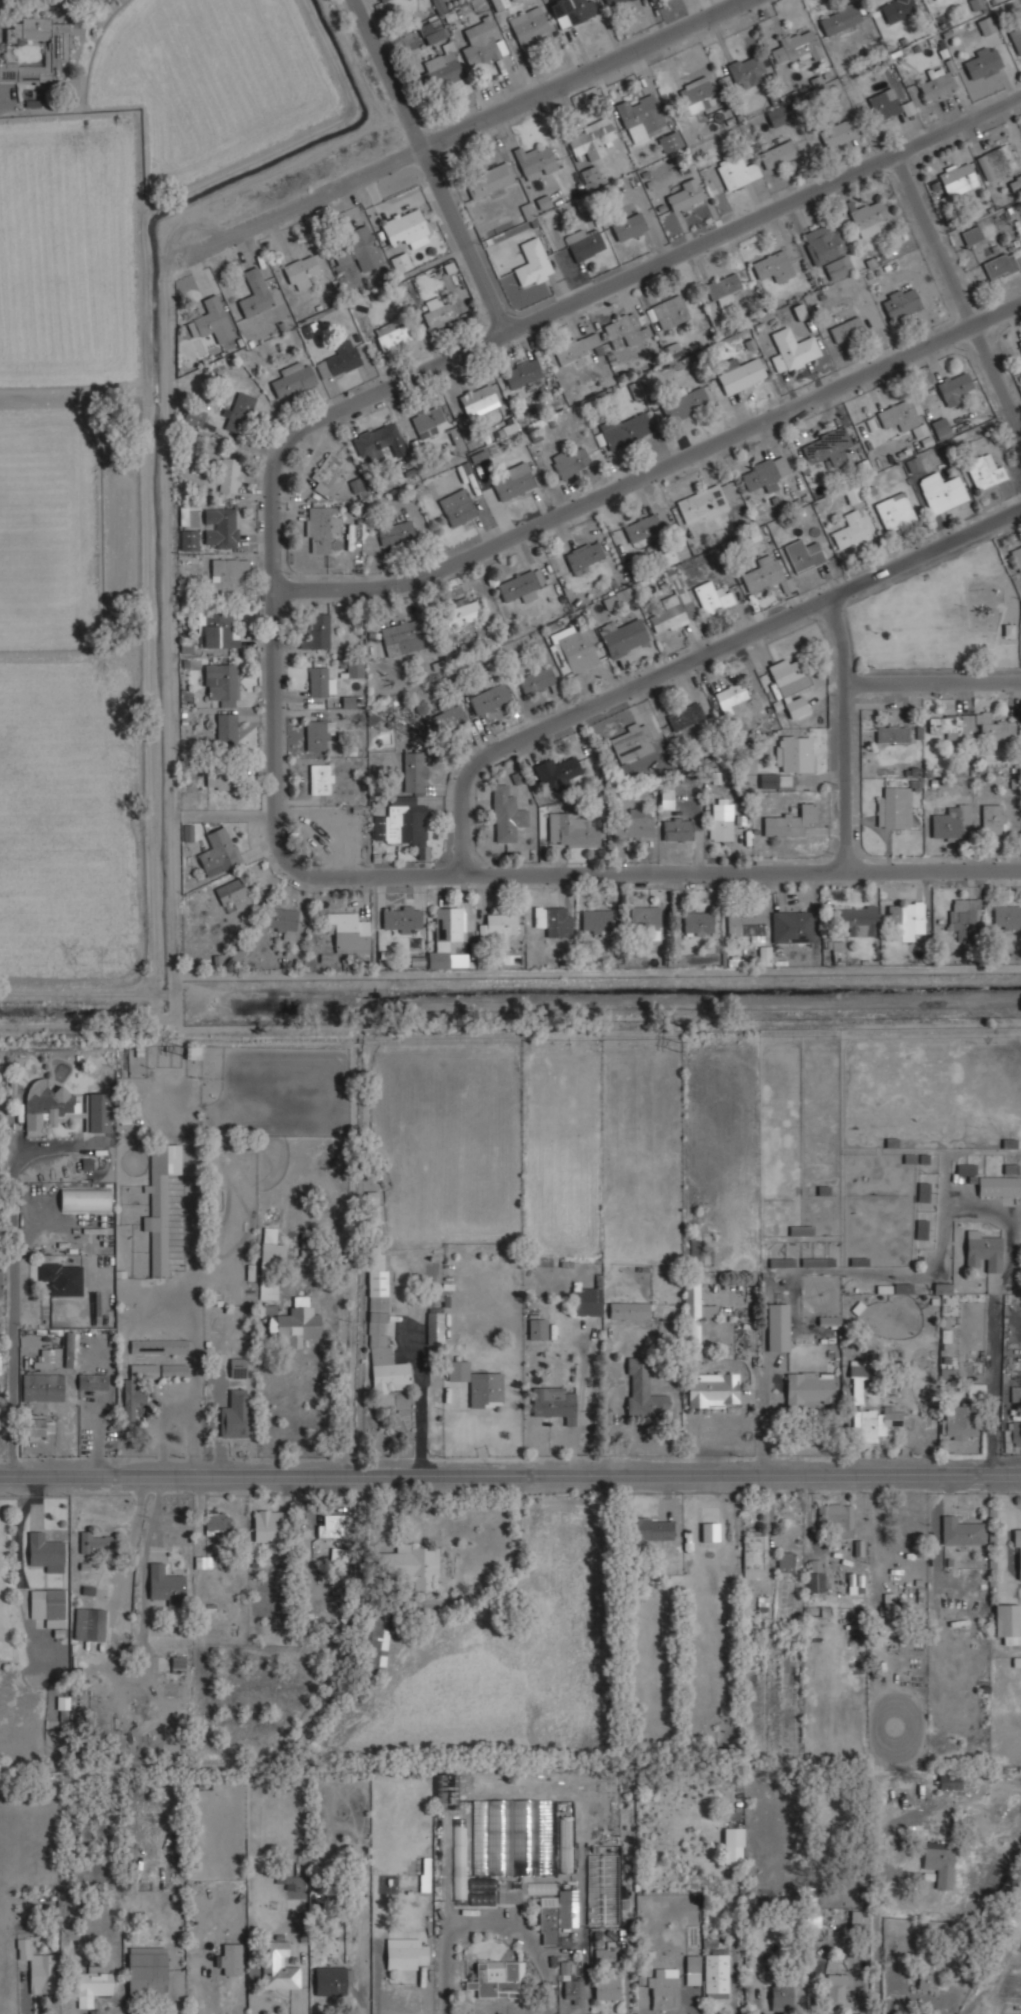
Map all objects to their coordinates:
building: (378, 0)
building: (382, 0)
building: (934, 0)
building: (612, 2)
building: (499, 4)
building: (895, 9)
building: (571, 11)
road: (10, 13)
building: (839, 19)
building: (986, 24)
building: (529, 25)
building: (432, 29)
building: (1016, 38)
building: (483, 42)
building: (794, 46)
building: (55, 50)
building: (983, 61)
building: (746, 69)
building: (439, 71)
building: (936, 84)
building: (695, 93)
road: (6, 100)
building: (708, 101)
building: (884, 103)
building: (778, 115)
building: (641, 116)
road: (467, 126)
building: (836, 132)
building: (590, 138)
building: (669, 141)
building: (777, 154)
building: (997, 160)
building: (534, 161)
road: (429, 166)
building: (738, 171)
building: (591, 177)
building: (957, 179)
building: (487, 180)
building: (1015, 182)
building: (685, 195)
building: (866, 216)
building: (628, 226)
building: (405, 227)
building: (972, 235)
building: (583, 242)
building: (356, 248)
crop: (69, 250)
building: (826, 250)
building: (400, 261)
building: (532, 263)
building: (999, 264)
building: (772, 265)
building: (300, 270)
building: (722, 287)
road: (959, 290)
building: (253, 292)
building: (900, 302)
building: (668, 311)
building: (438, 314)
building: (212, 320)
building: (845, 329)
building: (624, 330)
building: (392, 334)
building: (1019, 342)
building: (576, 346)
building: (792, 350)
building: (340, 357)
road: (452, 357)
building: (521, 372)
building: (740, 375)
building: (292, 378)
building: (954, 387)
building: (477, 397)
building: (684, 403)
building: (239, 411)
building: (193, 416)
building: (905, 419)
building: (426, 421)
building: (940, 427)
building: (624, 429)
building: (376, 440)
building: (826, 447)
building: (570, 461)
building: (913, 464)
building: (984, 470)
road: (655, 473)
building: (763, 473)
building: (229, 475)
building: (327, 475)
building: (514, 481)
building: (356, 487)
building: (941, 490)
building: (852, 494)
building: (701, 504)
building: (457, 506)
building: (894, 510)
building: (188, 516)
building: (219, 527)
building: (320, 527)
building: (641, 527)
building: (850, 530)
building: (394, 532)
building: (188, 539)
building: (675, 552)
building: (803, 554)
building: (583, 555)
building: (1017, 556)
building: (761, 572)
building: (228, 576)
building: (519, 585)
building: (712, 596)
building: (673, 606)
building: (463, 609)
building: (216, 629)
building: (316, 631)
building: (1020, 635)
building: (401, 637)
building: (623, 637)
building: (574, 651)
road: (696, 659)
building: (354, 669)
building: (788, 675)
building: (536, 679)
building: (317, 681)
building: (220, 683)
road: (934, 684)
building: (731, 696)
building: (489, 698)
crop: (55, 699)
building: (795, 706)
building: (684, 716)
building: (444, 719)
building: (952, 725)
building: (226, 727)
building: (993, 728)
building: (891, 733)
building: (316, 734)
road: (846, 735)
building: (630, 744)
building: (793, 752)
building: (414, 770)
building: (556, 773)
building: (320, 778)
building: (219, 780)
building: (768, 780)
building: (784, 782)
building: (666, 798)
building: (893, 807)
building: (506, 813)
building: (992, 819)
building: (720, 821)
building: (788, 821)
building: (950, 821)
building: (400, 824)
building: (634, 824)
building: (330, 825)
building: (677, 828)
building: (571, 830)
building: (187, 832)
building: (217, 851)
road: (659, 874)
building: (232, 895)
building: (964, 916)
building: (1007, 916)
building: (905, 917)
building: (400, 918)
building: (645, 918)
building: (858, 919)
building: (281, 920)
building: (553, 920)
building: (595, 921)
building: (746, 921)
building: (697, 922)
building: (498, 926)
building: (791, 926)
building: (348, 931)
building: (444, 934)
building: (837, 952)
building: (758, 957)
building: (192, 1052)
building: (62, 1107)
building: (1010, 1168)
building: (998, 1186)
building: (84, 1199)
building: (160, 1202)
building: (983, 1251)
building: (695, 1252)
building: (781, 1262)
building: (270, 1265)
road: (14, 1275)
building: (62, 1279)
building: (942, 1288)
building: (586, 1300)
building: (629, 1310)
building: (694, 1318)
building: (829, 1320)
building: (294, 1325)
building: (434, 1326)
building: (778, 1327)
building: (537, 1329)
building: (158, 1346)
building: (70, 1347)
building: (48, 1359)
building: (237, 1367)
building: (141, 1370)
building: (858, 1378)
building: (89, 1381)
building: (479, 1385)
building: (42, 1387)
road: (993, 1388)
building: (713, 1389)
building: (807, 1389)
building: (642, 1390)
building: (1015, 1394)
building: (133, 1403)
building: (554, 1403)
road: (421, 1409)
building: (235, 1415)
building: (958, 1421)
building: (873, 1424)
building: (36, 1427)
road: (510, 1464)
building: (834, 1519)
building: (216, 1522)
building: (267, 1525)
building: (330, 1525)
building: (645, 1531)
building: (959, 1531)
building: (96, 1542)
building: (44, 1551)
building: (752, 1551)
building: (1017, 1553)
building: (202, 1561)
building: (784, 1561)
building: (409, 1565)
building: (815, 1575)
building: (165, 1584)
building: (47, 1606)
building: (886, 1610)
building: (1007, 1621)
building: (89, 1624)
building: (370, 1646)
building: (177, 1663)
building: (949, 1782)
building: (444, 1789)
building: (511, 1837)
building: (565, 1844)
building: (732, 1857)
building: (459, 1858)
building: (938, 1863)
building: (293, 1877)
building: (481, 1890)
building: (550, 1908)
building: (858, 1918)
road: (489, 1926)
road: (877, 1930)
building: (406, 1953)
building: (603, 1954)
building: (229, 1959)
building: (37, 1966)
building: (277, 1966)
building: (692, 1969)
building: (146, 1972)
building: (929, 1972)
building: (715, 1975)
building: (496, 1978)
building: (331, 1980)
building: (94, 1982)
building: (606, 1987)
building: (662, 1988)
building: (572, 1991)
building: (836, 1991)
building: (780, 1997)

